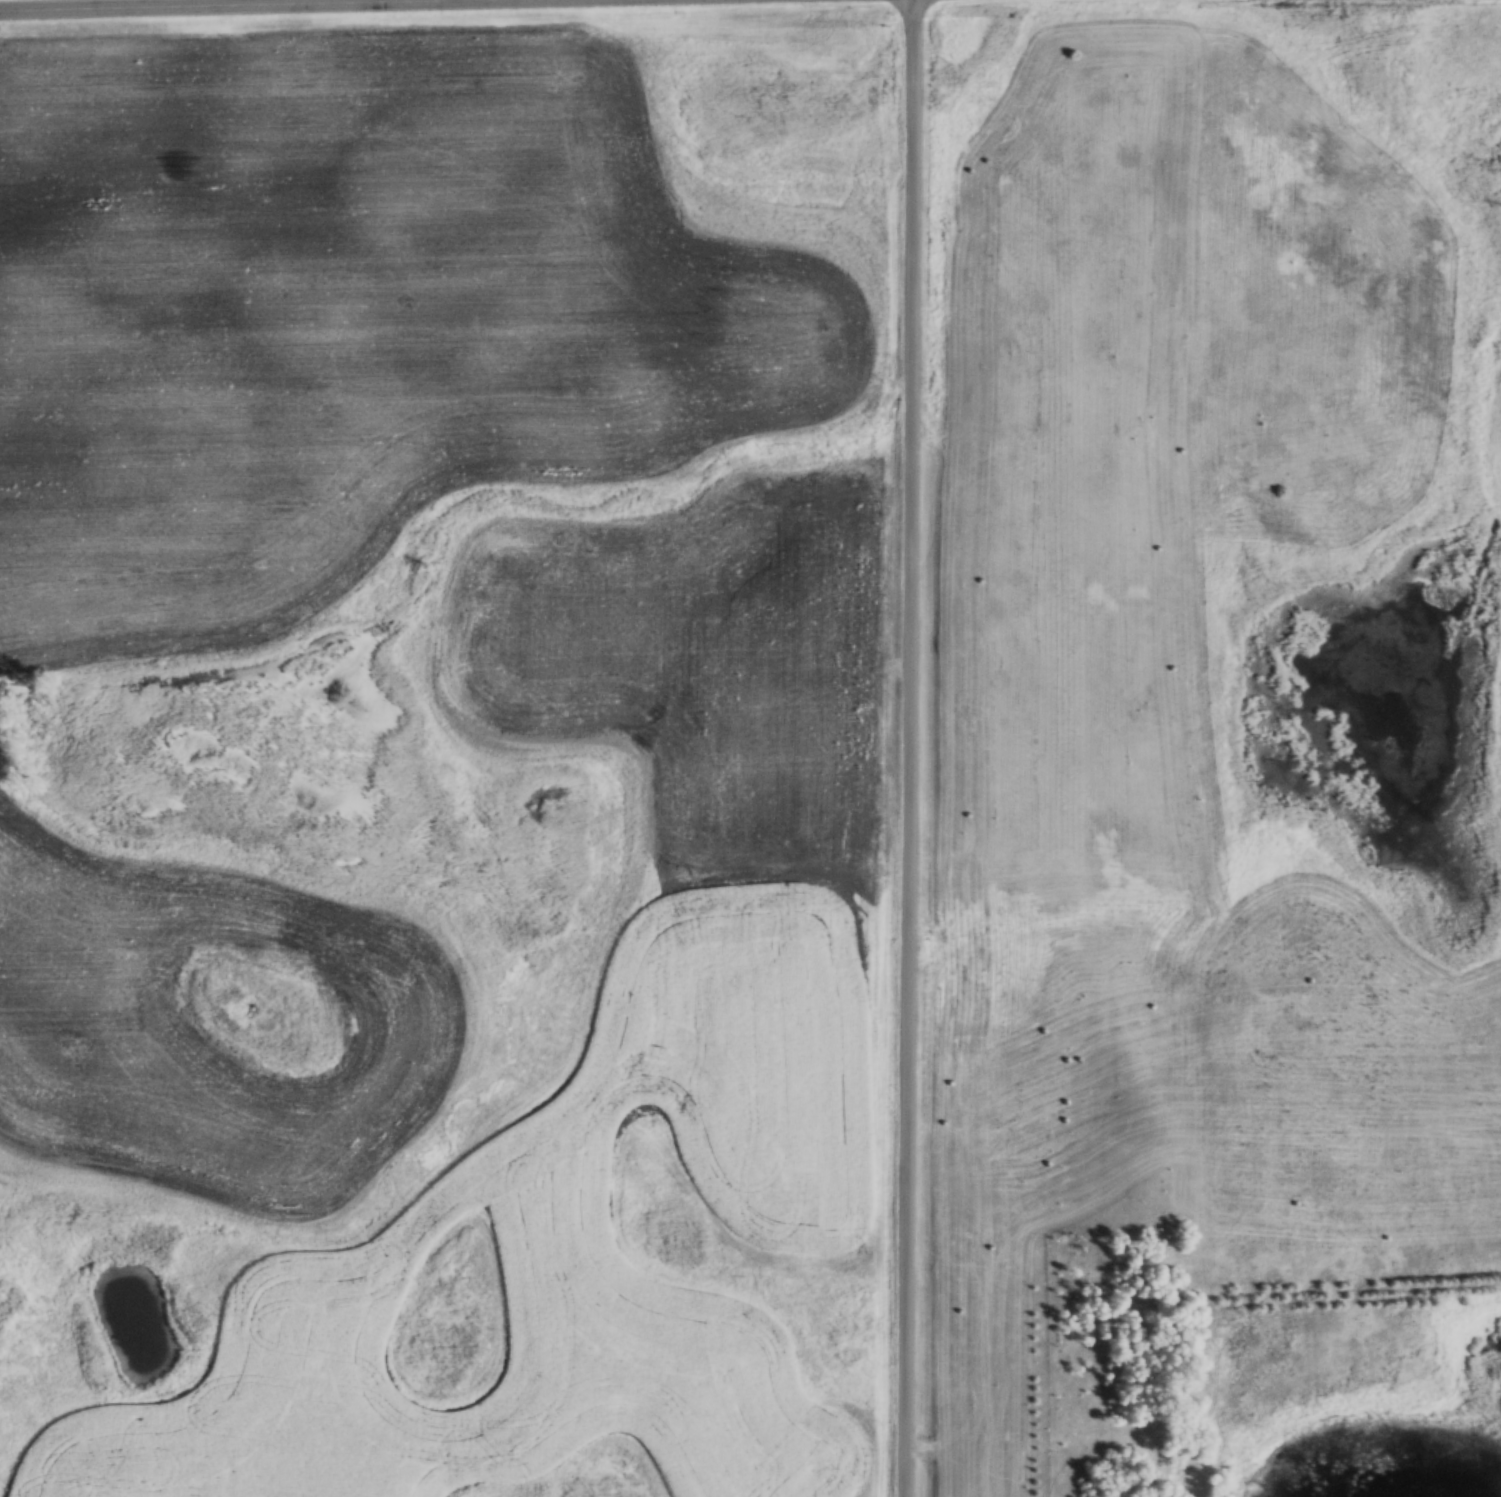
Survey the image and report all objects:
road: (157, 5)
road: (909, 748)
river: (288, 751)

